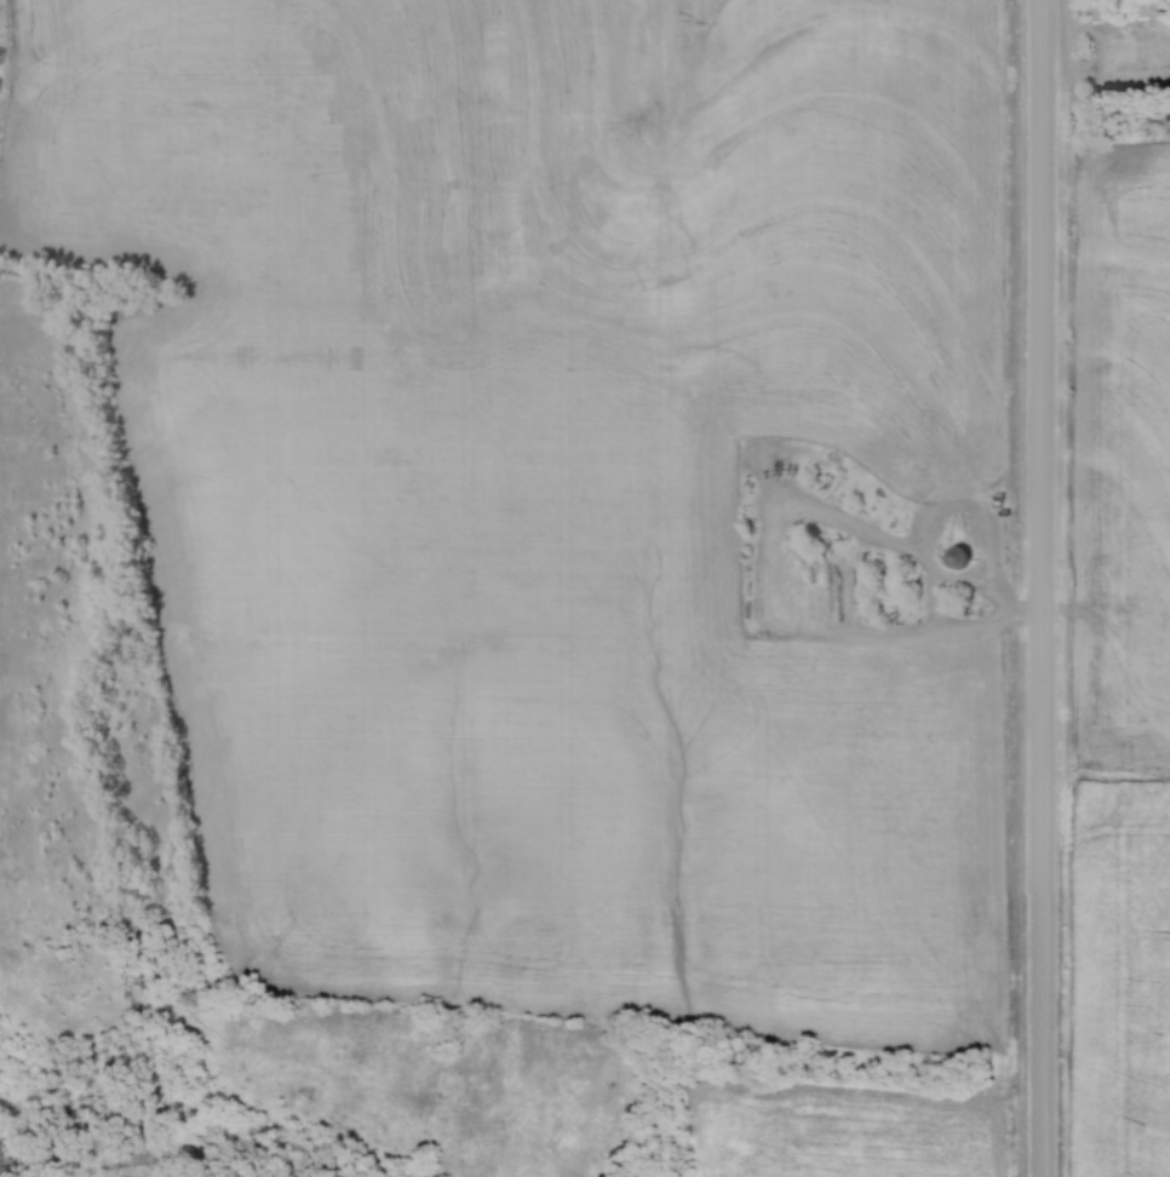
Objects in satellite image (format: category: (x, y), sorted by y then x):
building: (953, 557)
road: (1042, 588)

